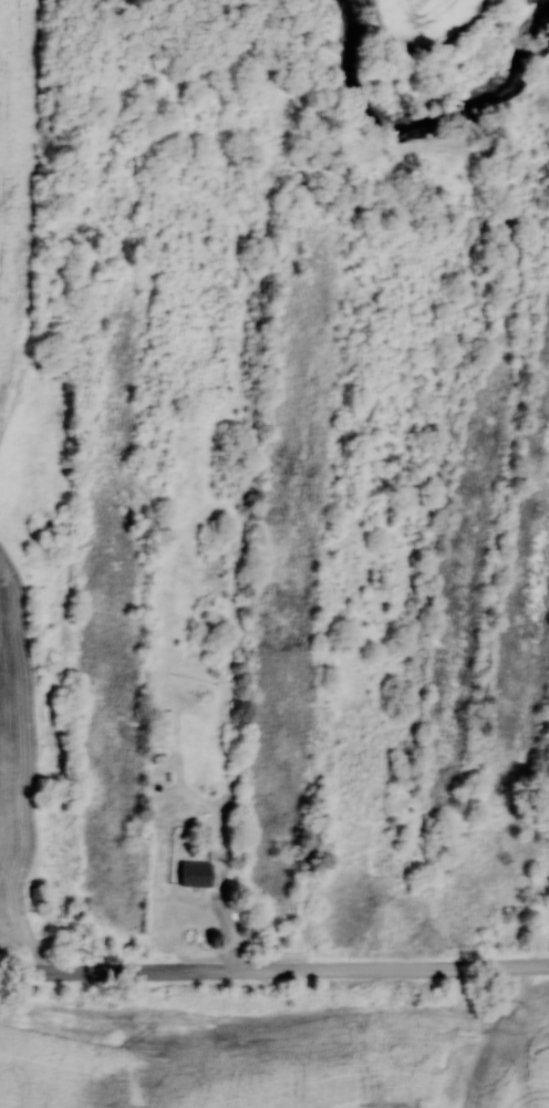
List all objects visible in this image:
river: (423, 125)
building: (194, 873)
road: (274, 969)

